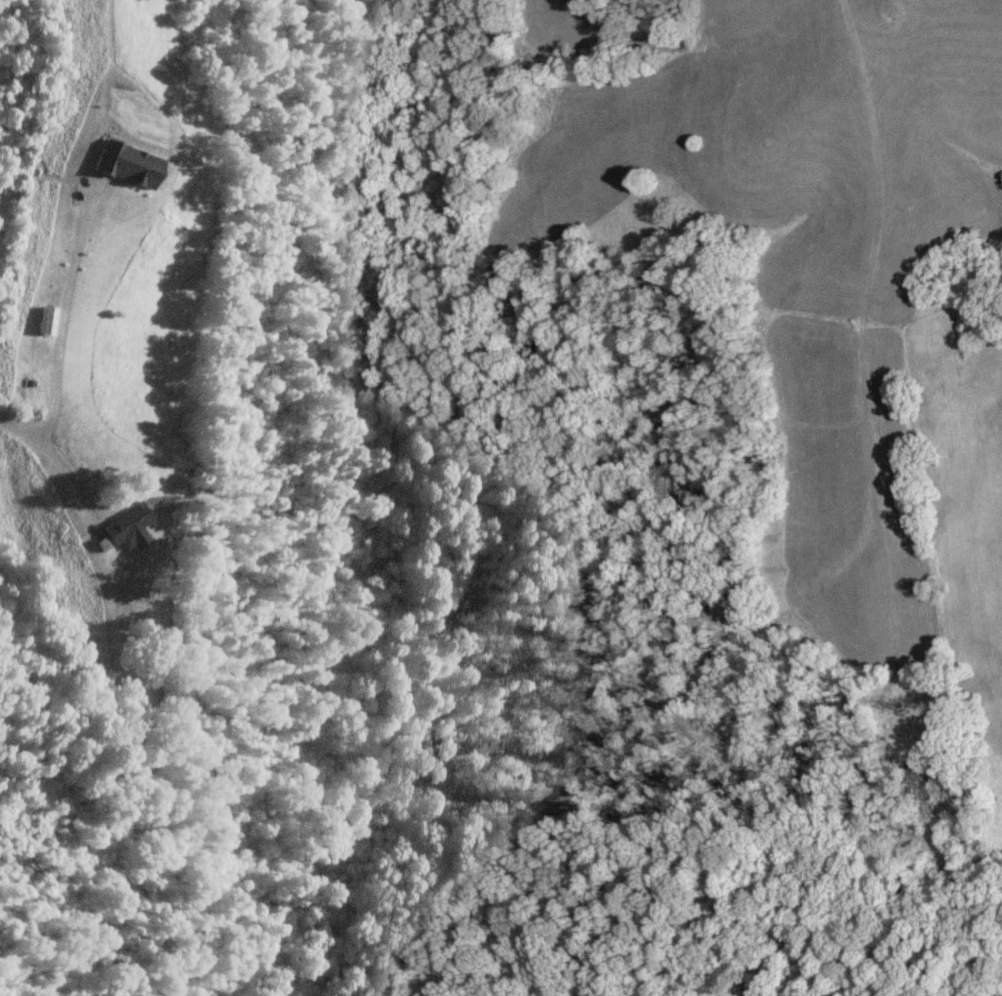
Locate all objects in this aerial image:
road: (64, 315)
road: (54, 458)

